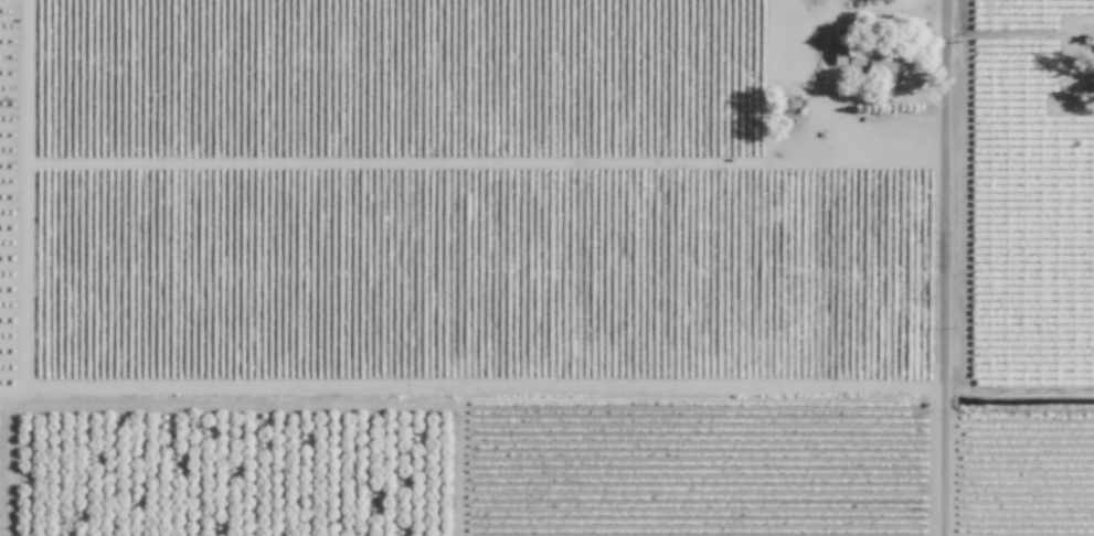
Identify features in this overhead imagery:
road: (1010, 34)
building: (873, 61)
road: (861, 93)
road: (784, 158)
road: (948, 268)

